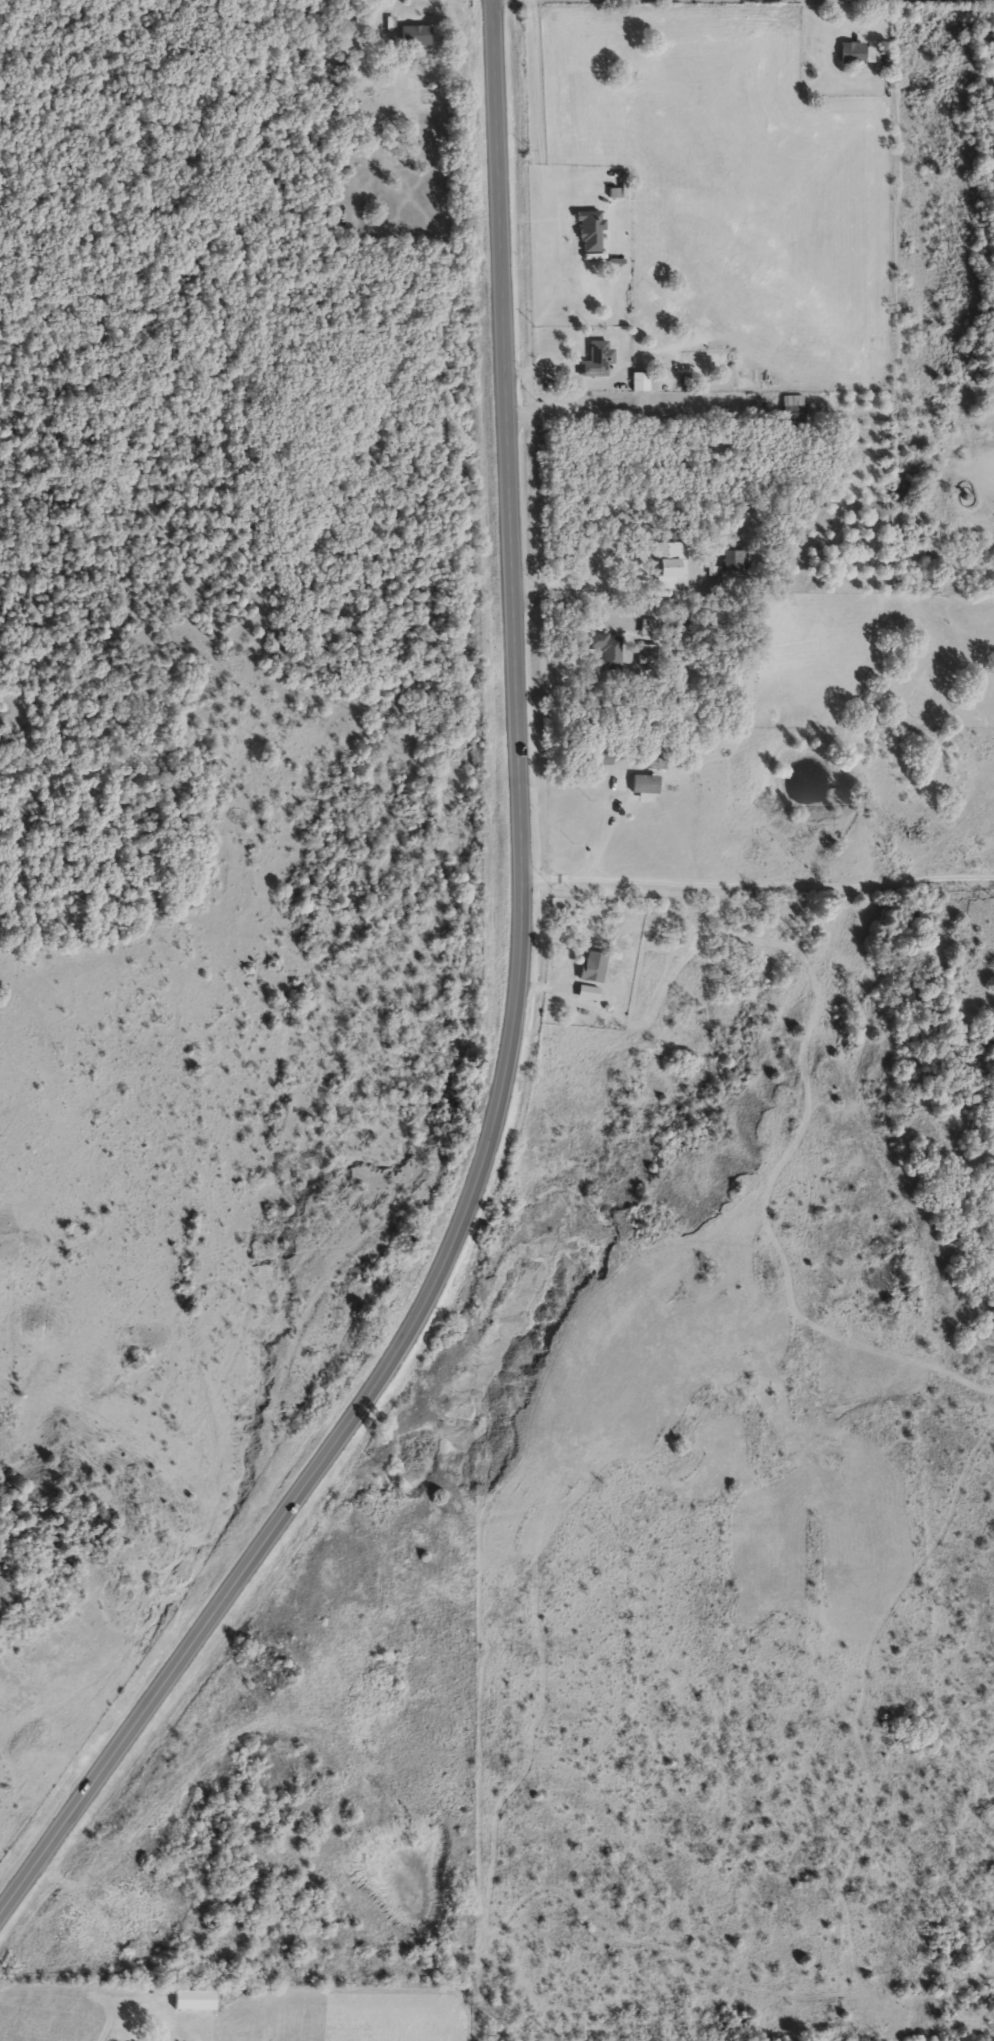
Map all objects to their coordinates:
building: (412, 34)
building: (849, 52)
building: (595, 359)
building: (643, 381)
building: (788, 408)
building: (729, 558)
building: (666, 564)
building: (646, 627)
building: (683, 628)
building: (749, 634)
building: (605, 648)
building: (645, 652)
building: (601, 756)
building: (642, 783)
road: (756, 885)
building: (591, 965)
building: (585, 992)
road: (512, 1029)
building: (190, 1999)

